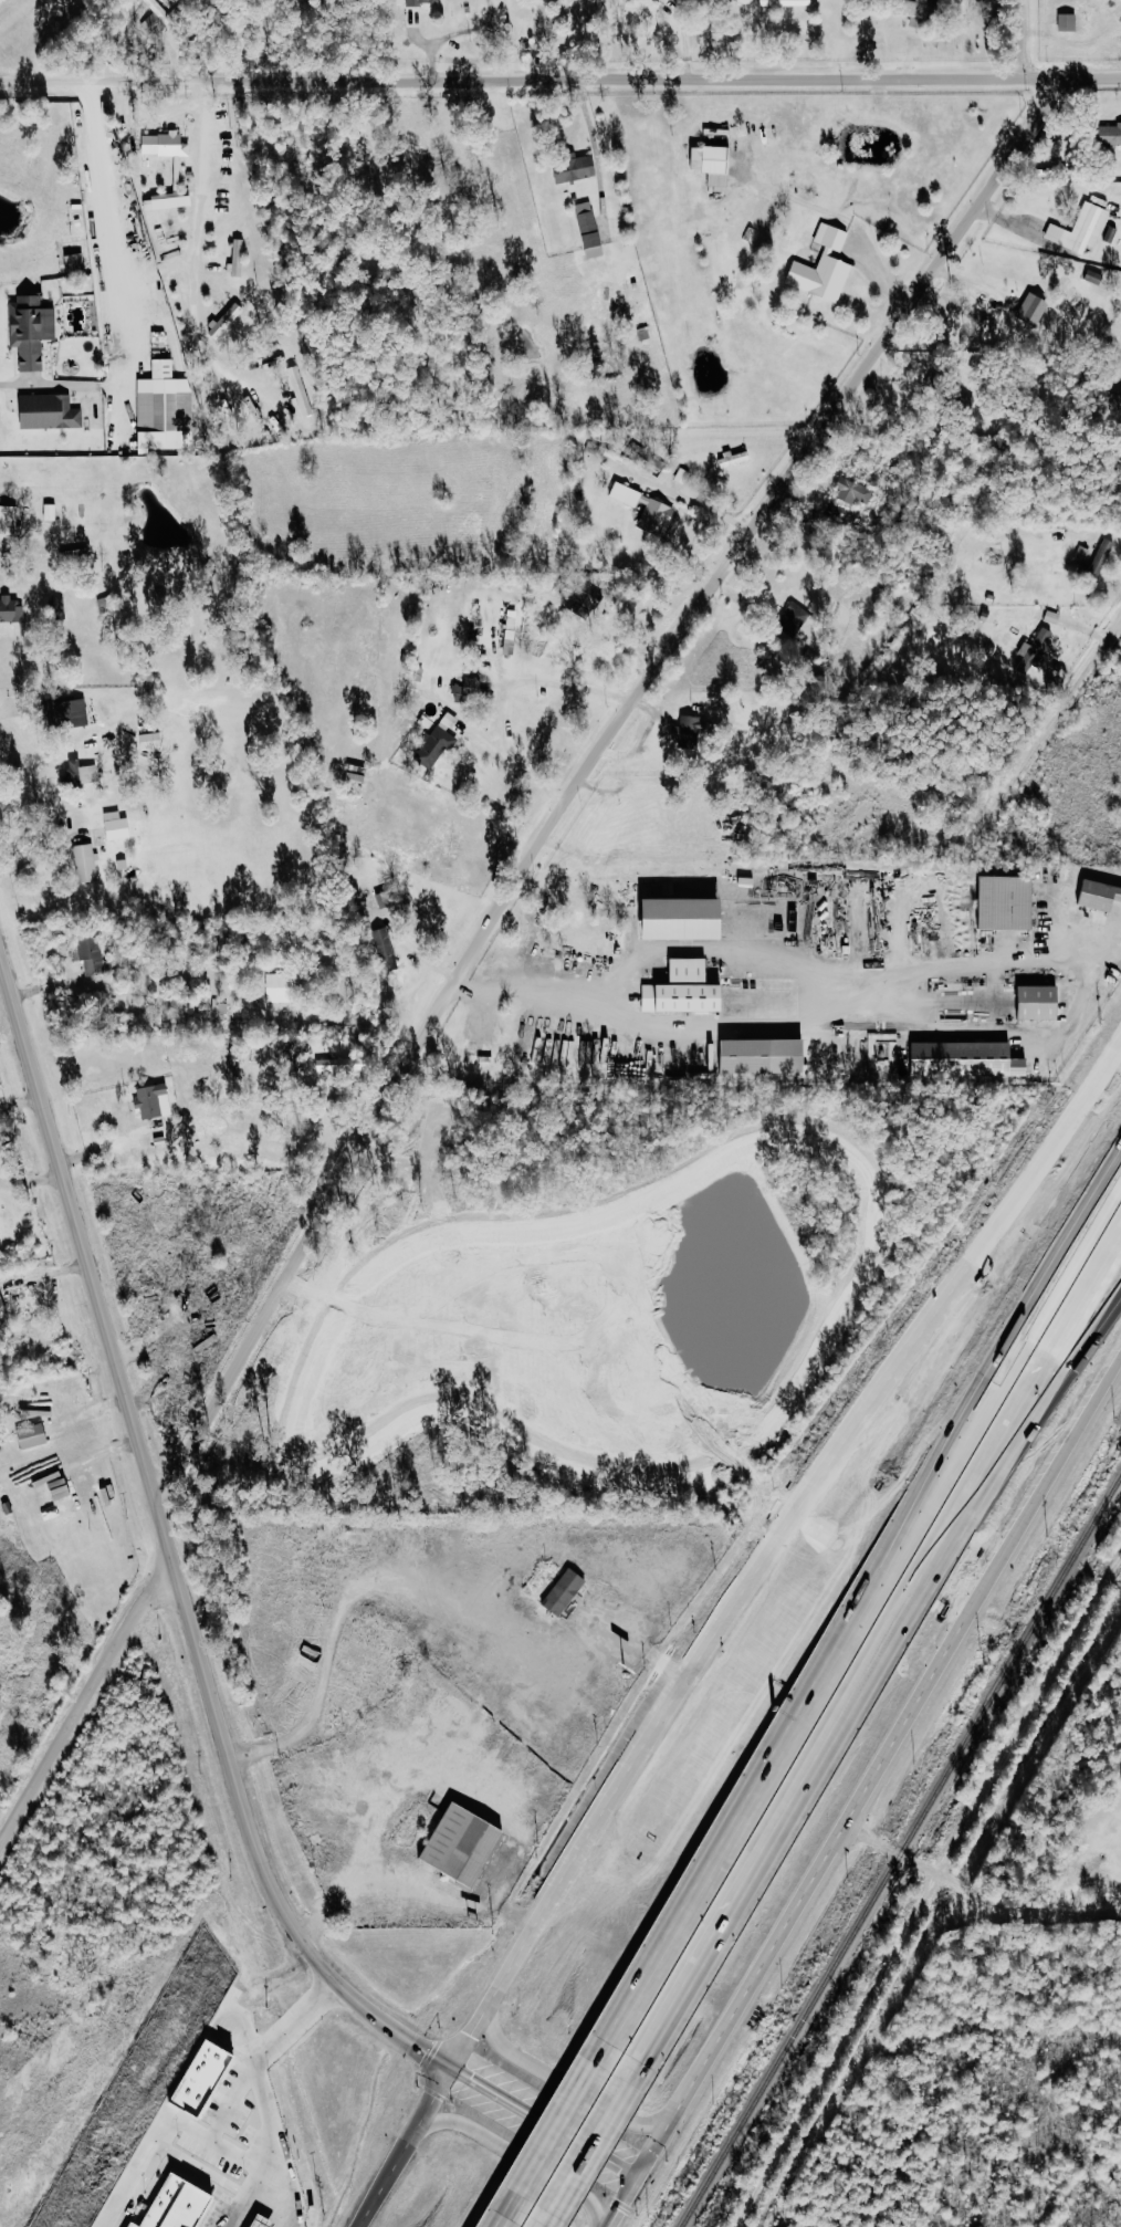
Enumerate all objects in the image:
building: (427, 2)
building: (786, 3)
building: (928, 13)
building: (1071, 22)
road: (1022, 41)
road: (758, 82)
road: (198, 83)
building: (1112, 135)
building: (717, 165)
building: (579, 170)
building: (181, 176)
road: (197, 210)
building: (593, 230)
building: (1085, 230)
building: (242, 259)
building: (78, 263)
building: (828, 266)
road: (117, 300)
road: (981, 304)
building: (1037, 309)
building: (229, 321)
building: (35, 332)
road: (203, 345)
building: (304, 391)
road: (839, 408)
building: (169, 410)
building: (53, 412)
building: (738, 459)
building: (856, 491)
building: (651, 510)
building: (10, 521)
building: (1104, 556)
building: (61, 609)
building: (11, 610)
building: (1060, 618)
building: (797, 619)
building: (514, 632)
building: (1039, 651)
building: (476, 689)
road: (17, 709)
building: (74, 713)
building: (149, 728)
building: (692, 731)
road: (1048, 732)
building: (155, 742)
building: (442, 742)
road: (516, 766)
building: (85, 774)
building: (360, 780)
building: (121, 827)
building: (88, 865)
building: (1101, 896)
building: (389, 901)
building: (1013, 903)
building: (692, 921)
building: (91, 954)
building: (284, 989)
building: (690, 991)
building: (1045, 1004)
road: (792, 1026)
building: (764, 1056)
building: (481, 1057)
building: (970, 1059)
building: (158, 1100)
road: (379, 1116)
road: (1071, 1117)
road: (1069, 1267)
road: (1090, 1322)
building: (36, 1436)
building: (64, 1491)
building: (564, 1591)
road: (201, 1649)
road: (86, 1700)
road: (673, 1701)
road: (807, 1712)
road: (845, 1731)
road: (881, 1771)
building: (463, 1846)
railway: (901, 1852)
road: (411, 1879)
road: (979, 1893)
traffic signals: (452, 2070)
building: (202, 2079)
road: (258, 2085)
road: (576, 2091)
road: (559, 2132)
road: (177, 2151)
road: (514, 2152)
road: (594, 2152)
traffic signals: (641, 2178)
road: (627, 2203)
building: (178, 2205)
road: (513, 2213)
building: (264, 2221)
gas station: (264, 2221)
road: (553, 2223)
building: (136, 2225)

